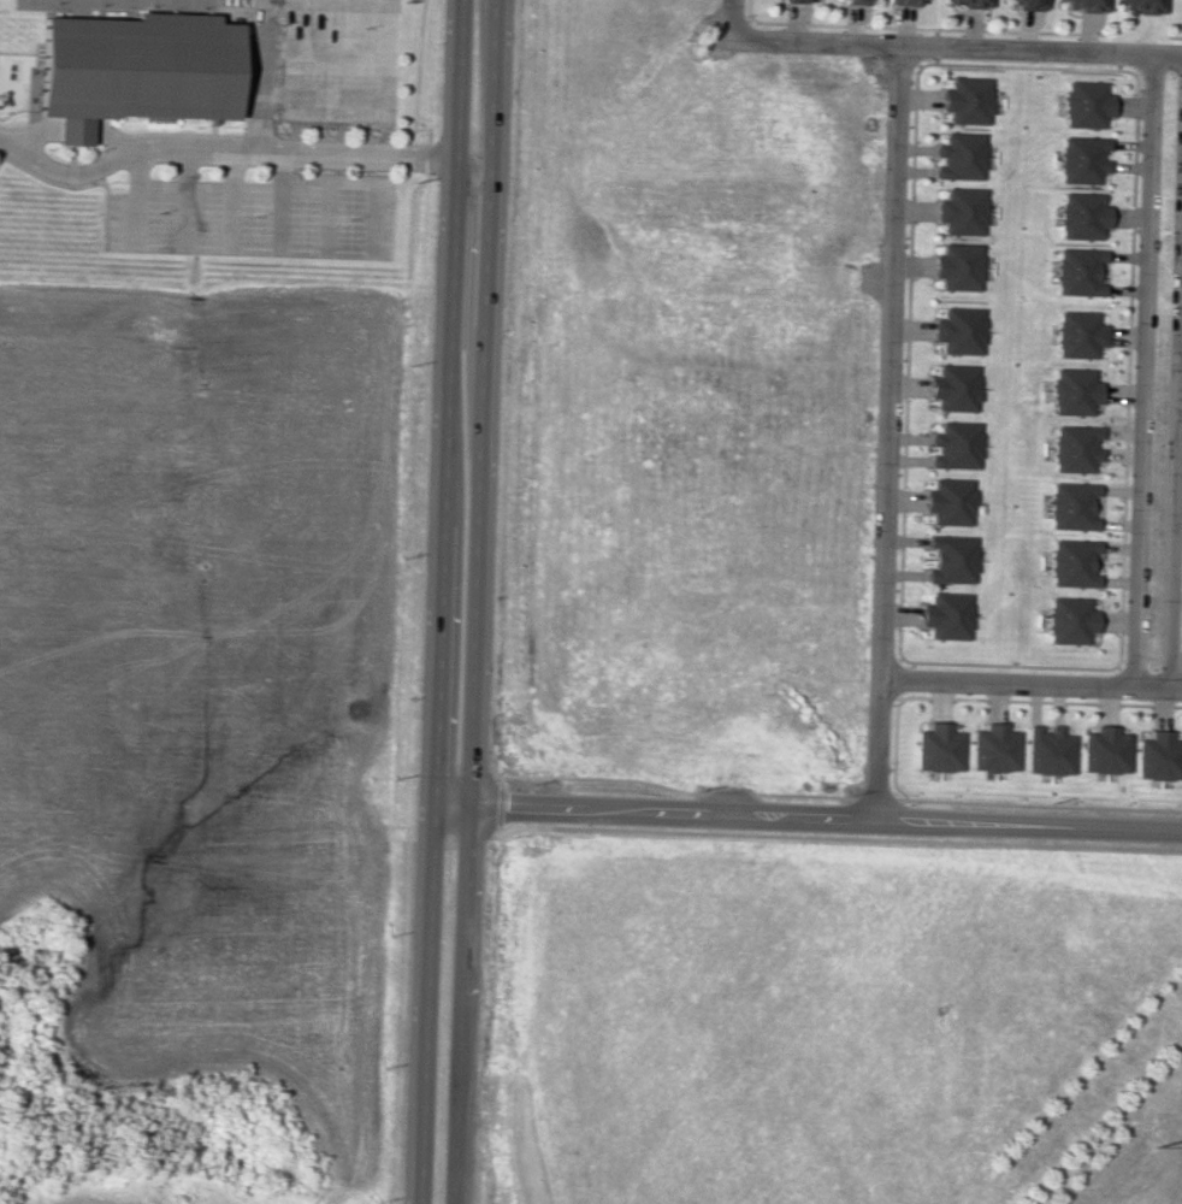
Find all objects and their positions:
road: (357, 0)
building: (797, 0)
building: (855, 1)
building: (904, 2)
building: (970, 2)
building: (1028, 4)
building: (1083, 5)
building: (1141, 5)
road: (731, 18)
road: (956, 45)
road: (327, 48)
parking lot: (339, 59)
building: (137, 66)
road: (256, 72)
road: (268, 72)
road: (376, 98)
building: (967, 99)
building: (1083, 104)
road: (67, 125)
road: (297, 146)
building: (962, 154)
building: (1080, 158)
road: (299, 161)
road: (69, 173)
road: (354, 182)
road: (136, 197)
road: (185, 200)
road: (232, 201)
road: (280, 202)
building: (961, 211)
road: (326, 213)
building: (1078, 214)
road: (379, 216)
parking lot: (256, 217)
road: (327, 247)
building: (958, 267)
building: (1076, 271)
building: (959, 331)
building: (1076, 334)
road: (1141, 368)
building: (952, 388)
building: (1070, 393)
road: (885, 433)
road: (1174, 441)
building: (955, 444)
building: (1071, 449)
building: (947, 501)
building: (1069, 507)
building: (951, 559)
building: (1069, 562)
road: (442, 602)
road: (471, 602)
building: (946, 614)
building: (1065, 620)
crop: (202, 669)
road: (1028, 681)
building: (936, 750)
building: (991, 750)
building: (1101, 751)
building: (1046, 752)
building: (1156, 756)
road: (808, 821)
power tower: (1153, 1143)
crop: (135, 1194)

